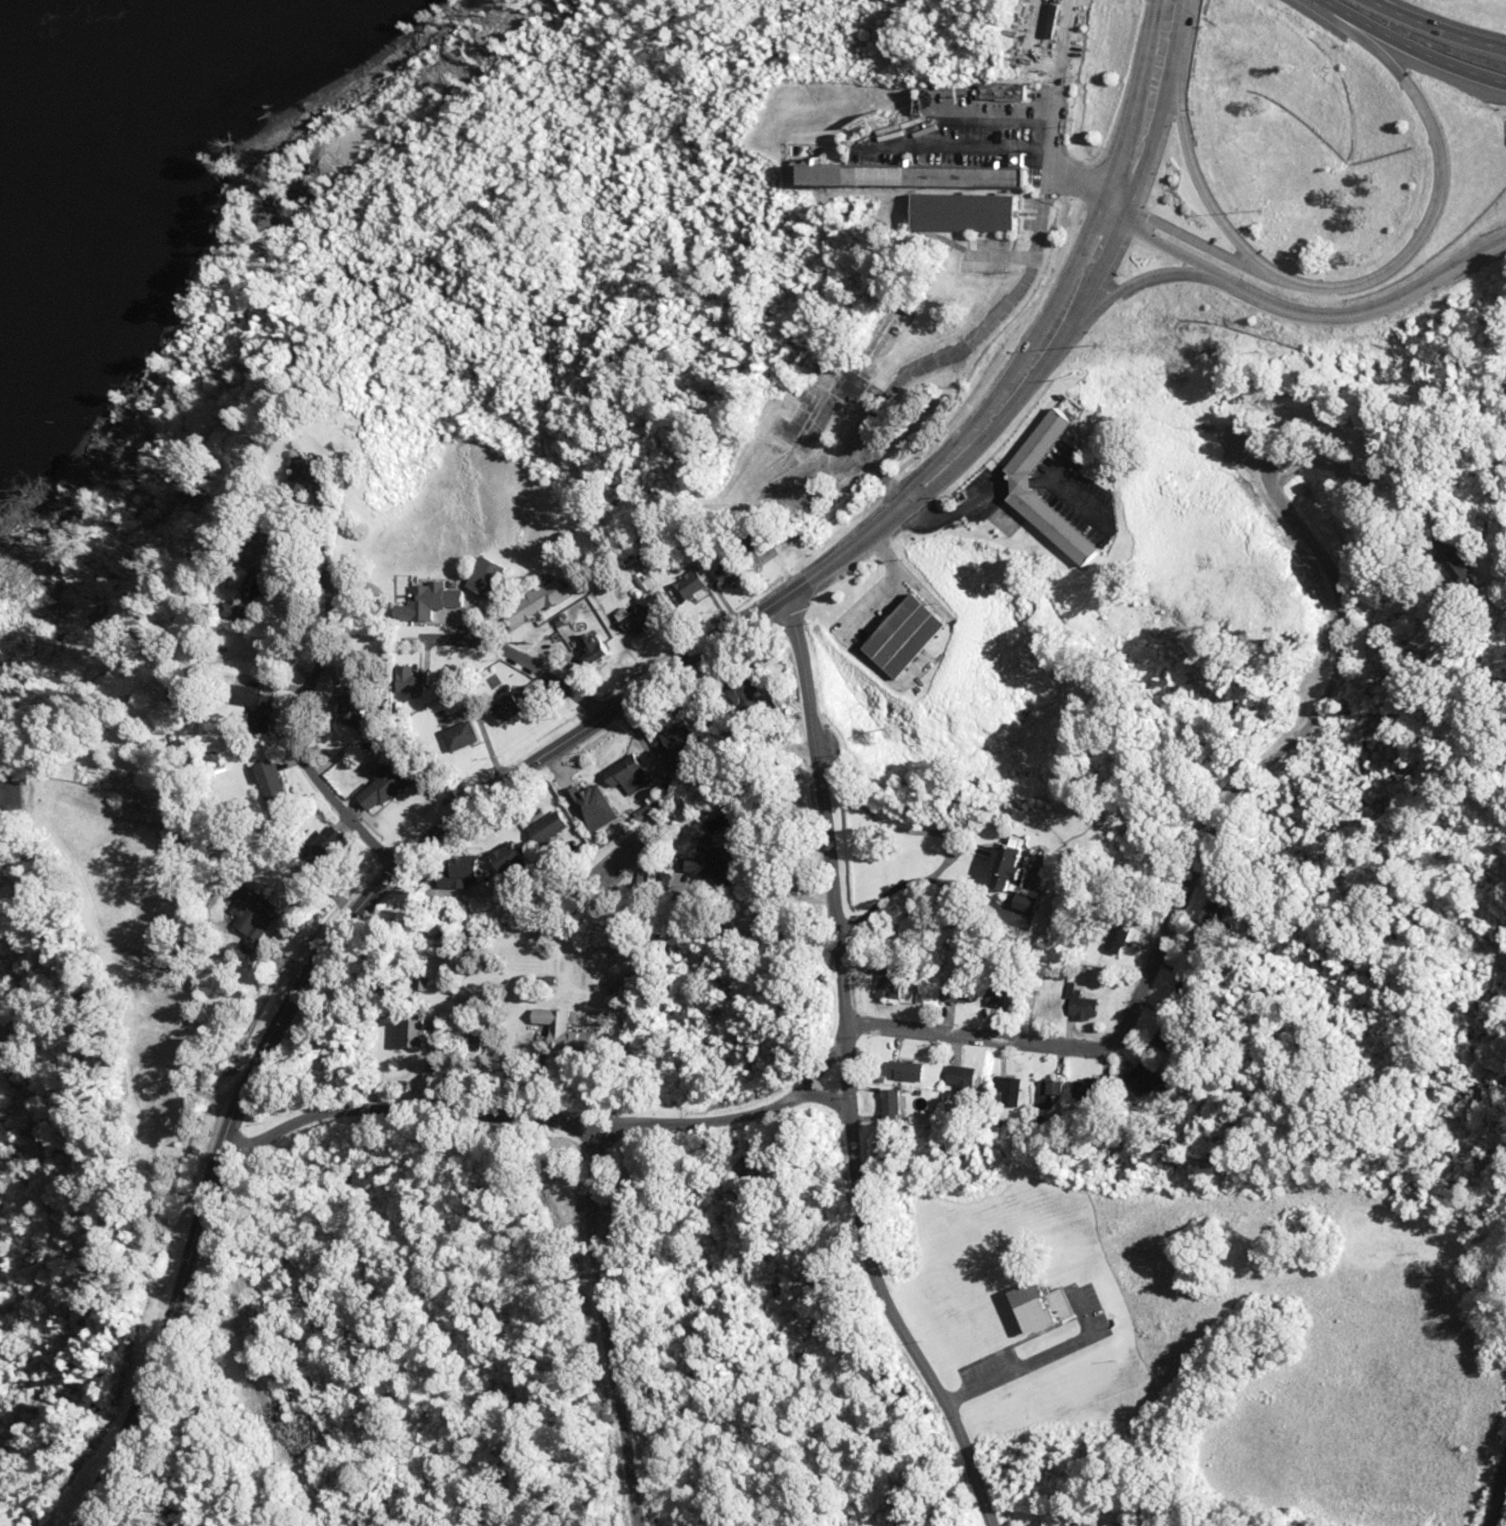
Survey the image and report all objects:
road: (1179, 9)
road: (1436, 29)
road: (1407, 49)
road: (1154, 114)
road: (1052, 121)
building: (924, 177)
building: (969, 213)
road: (1198, 240)
road: (1135, 287)
road: (1379, 293)
road: (1308, 316)
road: (958, 350)
building: (327, 482)
building: (1033, 486)
building: (735, 573)
building: (492, 577)
building: (693, 586)
building: (432, 601)
building: (543, 602)
building: (641, 627)
building: (919, 635)
road: (494, 647)
road: (652, 677)
road: (338, 683)
building: (518, 703)
building: (464, 735)
building: (630, 776)
building: (271, 781)
building: (387, 781)
building: (25, 787)
building: (593, 806)
building: (551, 827)
road: (1205, 866)
building: (1022, 868)
building: (462, 873)
building: (247, 902)
building: (1047, 1002)
building: (568, 1031)
building: (422, 1033)
building: (913, 1070)
road: (849, 1072)
building: (965, 1076)
building: (1147, 1082)
building: (1094, 1088)
building: (1013, 1092)
building: (899, 1104)
road: (544, 1117)
building: (1047, 1305)
road: (141, 1353)
railway: (1496, 1496)

